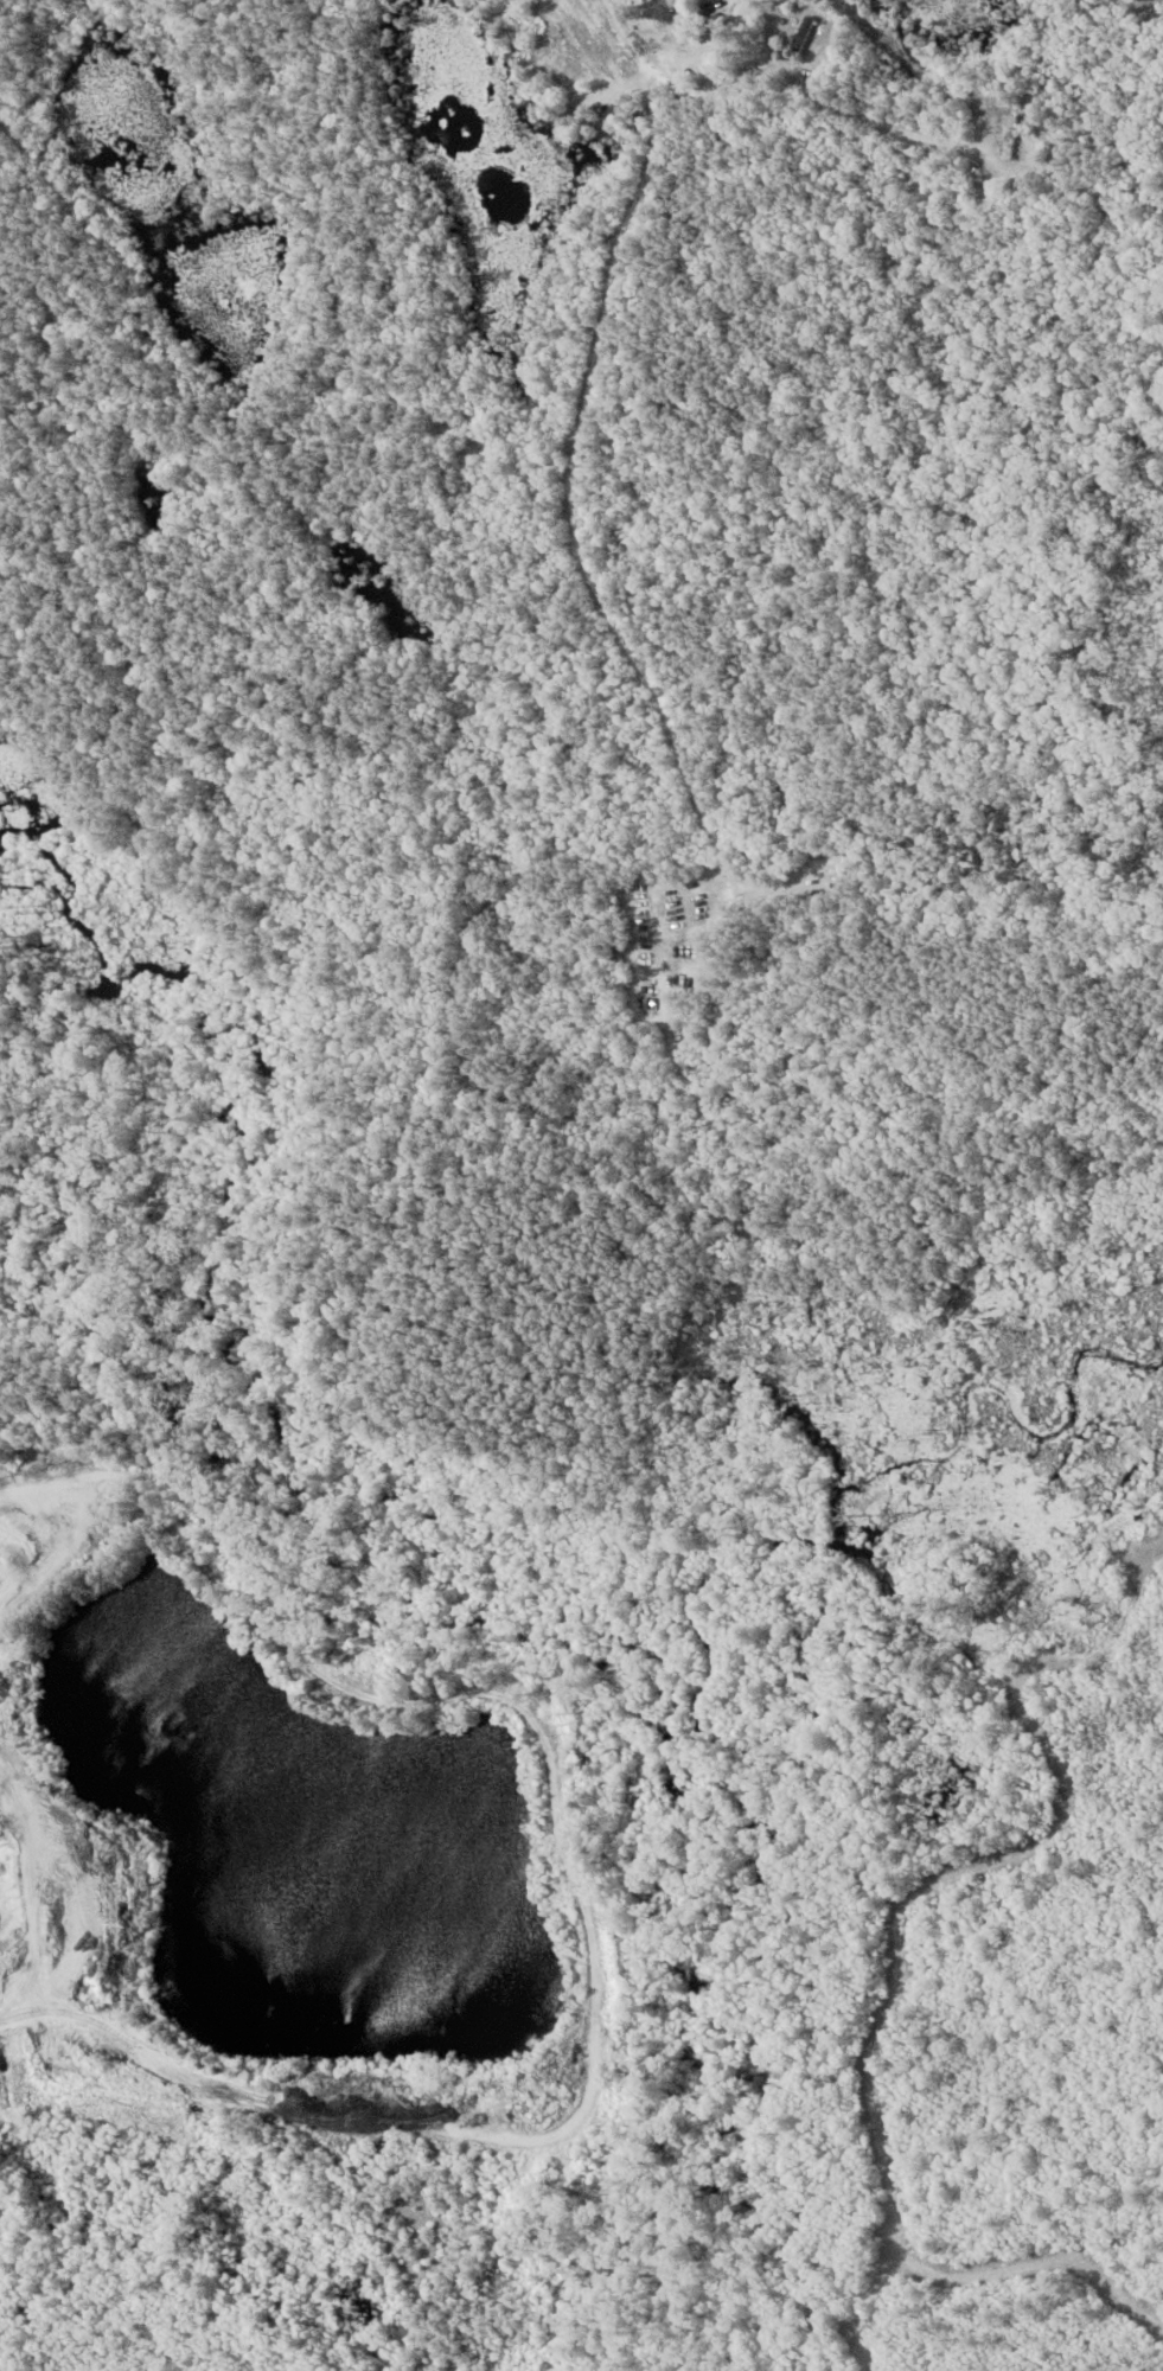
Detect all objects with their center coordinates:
road: (614, 14)
building: (801, 34)
building: (1010, 136)

